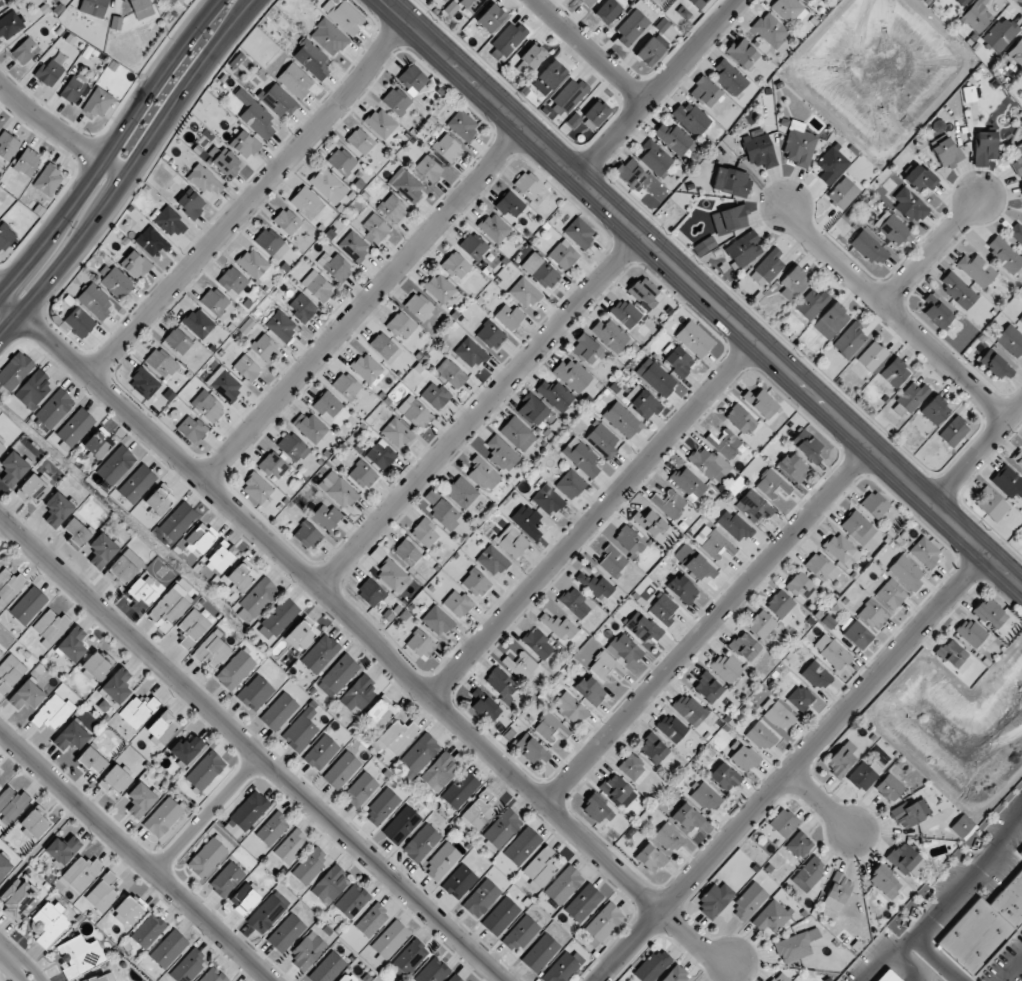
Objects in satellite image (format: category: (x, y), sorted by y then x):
building: (173, 0)
building: (444, 0)
building: (804, 0)
building: (587, 2)
building: (961, 2)
building: (1, 3)
building: (698, 3)
building: (470, 4)
building: (94, 7)
building: (141, 8)
building: (607, 11)
building: (789, 11)
building: (343, 15)
building: (977, 16)
building: (491, 18)
building: (10, 25)
building: (631, 27)
building: (770, 30)
building: (1000, 34)
building: (329, 37)
building: (508, 38)
building: (25, 50)
road: (587, 51)
building: (649, 51)
building: (742, 53)
building: (1016, 53)
building: (533, 55)
building: (312, 59)
building: (49, 73)
building: (549, 77)
building: (729, 78)
building: (412, 79)
building: (295, 80)
road: (654, 88)
building: (73, 89)
building: (706, 93)
building: (968, 94)
building: (568, 96)
building: (277, 100)
building: (396, 101)
building: (98, 102)
building: (596, 113)
building: (255, 115)
building: (691, 117)
building: (574, 121)
building: (380, 123)
building: (462, 126)
road: (60, 132)
building: (672, 137)
building: (360, 141)
building: (244, 144)
building: (8, 145)
building: (799, 145)
road: (111, 146)
building: (985, 147)
building: (447, 148)
building: (759, 151)
building: (947, 153)
building: (655, 158)
building: (1017, 158)
building: (341, 161)
building: (27, 162)
building: (227, 163)
building: (831, 165)
road: (129, 169)
building: (429, 169)
building: (630, 173)
building: (919, 178)
building: (48, 180)
building: (205, 180)
building: (731, 181)
building: (528, 185)
building: (328, 186)
building: (408, 186)
building: (842, 193)
road: (245, 199)
building: (190, 203)
building: (306, 203)
building: (510, 204)
building: (909, 205)
building: (393, 208)
building: (729, 219)
building: (287, 221)
building: (170, 222)
building: (375, 227)
building: (892, 227)
building: (494, 228)
building: (1016, 232)
building: (580, 234)
building: (5, 236)
building: (151, 241)
building: (271, 243)
building: (353, 246)
building: (473, 246)
building: (704, 246)
building: (869, 248)
building: (744, 249)
road: (932, 252)
building: (1004, 254)
building: (563, 255)
building: (253, 263)
building: (135, 264)
building: (455, 265)
building: (336, 266)
building: (767, 268)
building: (976, 269)
building: (541, 271)
building: (232, 280)
building: (114, 281)
building: (793, 284)
building: (317, 286)
building: (439, 288)
building: (958, 290)
building: (644, 292)
building: (524, 293)
road: (701, 294)
building: (95, 301)
building: (214, 301)
road: (9, 303)
building: (811, 304)
road: (361, 306)
building: (419, 306)
building: (302, 308)
building: (937, 312)
building: (625, 313)
building: (509, 316)
road: (898, 317)
building: (1020, 320)
building: (79, 321)
building: (831, 321)
building: (198, 323)
building: (400, 325)
building: (281, 326)
building: (490, 335)
building: (610, 335)
building: (694, 339)
building: (850, 340)
building: (1010, 340)
building: (178, 341)
building: (383, 346)
building: (264, 348)
building: (587, 351)
building: (470, 353)
building: (871, 356)
building: (678, 361)
building: (161, 363)
building: (995, 364)
building: (247, 368)
building: (367, 368)
building: (15, 370)
building: (894, 372)
building: (451, 373)
building: (572, 374)
building: (655, 377)
building: (143, 383)
building: (225, 385)
building: (346, 386)
building: (33, 389)
building: (435, 395)
building: (556, 395)
building: (909, 399)
building: (642, 402)
building: (761, 403)
building: (327, 404)
building: (210, 408)
building: (54, 409)
building: (532, 410)
building: (935, 410)
building: (414, 412)
road: (476, 414)
building: (622, 419)
building: (740, 419)
building: (75, 427)
building: (310, 427)
building: (191, 429)
building: (953, 431)
building: (396, 432)
building: (517, 433)
building: (602, 441)
building: (725, 443)
building: (97, 444)
building: (808, 446)
building: (2, 447)
building: (293, 447)
building: (502, 453)
road: (974, 454)
building: (380, 456)
building: (581, 457)
building: (1018, 457)
building: (709, 464)
building: (116, 465)
building: (273, 465)
building: (793, 467)
building: (12, 468)
building: (483, 473)
building: (362, 475)
building: (1008, 482)
building: (136, 483)
building: (688, 483)
building: (570, 484)
building: (772, 485)
building: (32, 488)
building: (257, 488)
building: (337, 489)
building: (461, 492)
building: (159, 500)
building: (547, 500)
building: (669, 503)
building: (990, 504)
building: (874, 505)
building: (753, 506)
building: (57, 509)
building: (442, 510)
building: (327, 516)
road: (591, 519)
building: (178, 521)
building: (527, 521)
building: (649, 521)
building: (734, 525)
building: (77, 531)
building: (424, 533)
building: (307, 535)
building: (200, 538)
building: (629, 541)
building: (513, 543)
building: (716, 545)
building: (101, 550)
building: (842, 550)
building: (407, 552)
building: (925, 552)
building: (221, 556)
building: (492, 560)
building: (612, 561)
building: (124, 567)
building: (699, 567)
building: (821, 568)
building: (906, 572)
building: (393, 577)
building: (476, 583)
building: (595, 585)
building: (9, 586)
building: (803, 587)
building: (145, 589)
building: (682, 589)
building: (370, 592)
building: (891, 594)
building: (256, 600)
building: (574, 602)
building: (457, 604)
building: (779, 604)
building: (28, 605)
building: (170, 607)
building: (663, 609)
building: (991, 613)
building: (872, 615)
building: (278, 619)
building: (437, 620)
building: (761, 624)
building: (50, 627)
building: (559, 627)
building: (642, 627)
road: (706, 627)
building: (192, 628)
building: (970, 632)
building: (301, 633)
building: (855, 633)
building: (72, 644)
road: (372, 644)
building: (420, 644)
building: (538, 644)
building: (744, 646)
building: (624, 649)
building: (212, 650)
building: (832, 651)
building: (1, 653)
building: (320, 653)
building: (951, 653)
building: (521, 665)
building: (96, 666)
building: (605, 666)
building: (727, 668)
building: (235, 670)
building: (10, 673)
building: (340, 673)
building: (817, 675)
building: (500, 683)
building: (117, 685)
building: (707, 687)
building: (590, 690)
building: (255, 693)
building: (359, 694)
building: (26, 695)
building: (800, 698)
building: (570, 707)
building: (689, 709)
building: (380, 710)
building: (138, 711)
building: (52, 712)
building: (279, 712)
building: (779, 716)
building: (550, 727)
building: (162, 728)
building: (671, 728)
building: (300, 730)
building: (71, 736)
building: (397, 736)
building: (760, 736)
road: (255, 747)
building: (187, 748)
building: (653, 748)
building: (531, 749)
building: (321, 752)
building: (420, 753)
building: (842, 757)
building: (743, 758)
building: (92, 759)
building: (632, 767)
road: (789, 767)
building: (205, 770)
building: (341, 770)
building: (440, 770)
building: (862, 775)
building: (724, 777)
building: (115, 779)
building: (0, 785)
building: (889, 787)
building: (615, 788)
building: (361, 789)
building: (460, 789)
building: (706, 797)
building: (140, 799)
road: (819, 800)
building: (12, 803)
building: (382, 807)
building: (596, 810)
road: (208, 811)
building: (477, 812)
building: (910, 812)
building: (246, 814)
building: (163, 817)
building: (687, 817)
building: (783, 822)
building: (34, 823)
building: (401, 825)
building: (963, 827)
building: (272, 829)
building: (501, 829)
building: (668, 838)
building: (421, 843)
building: (799, 844)
road: (40, 846)
building: (291, 846)
building: (522, 846)
building: (62, 849)
building: (1020, 852)
road: (136, 854)
building: (207, 857)
building: (650, 858)
building: (902, 858)
building: (441, 861)
building: (4, 866)
building: (310, 866)
building: (540, 868)
building: (81, 873)
building: (809, 873)
building: (226, 879)
building: (459, 881)
building: (884, 882)
building: (330, 885)
building: (564, 885)
building: (838, 892)
building: (102, 893)
building: (244, 898)
building: (481, 898)
building: (17, 899)
building: (714, 900)
building: (352, 901)
building: (748, 901)
building: (583, 903)
road: (942, 906)
building: (129, 910)
building: (268, 912)
building: (500, 916)
building: (771, 917)
building: (372, 920)
building: (604, 922)
building: (49, 923)
building: (984, 927)
building: (148, 931)
building: (286, 933)
building: (520, 934)
building: (390, 939)
building: (796, 945)
building: (168, 949)
building: (307, 950)
road: (6, 953)
building: (540, 953)
building: (79, 956)
building: (411, 956)
road: (934, 961)
building: (188, 965)
road: (908, 965)
building: (653, 966)
building: (563, 967)
building: (327, 968)
road: (26, 969)
road: (19, 970)
road: (1012, 970)
building: (433, 971)
road: (6, 973)
park: (7, 973)
building: (213, 975)
building: (676, 975)
building: (887, 976)
building: (780, 977)
building: (101, 978)
building: (345, 978)
building: (453, 978)

